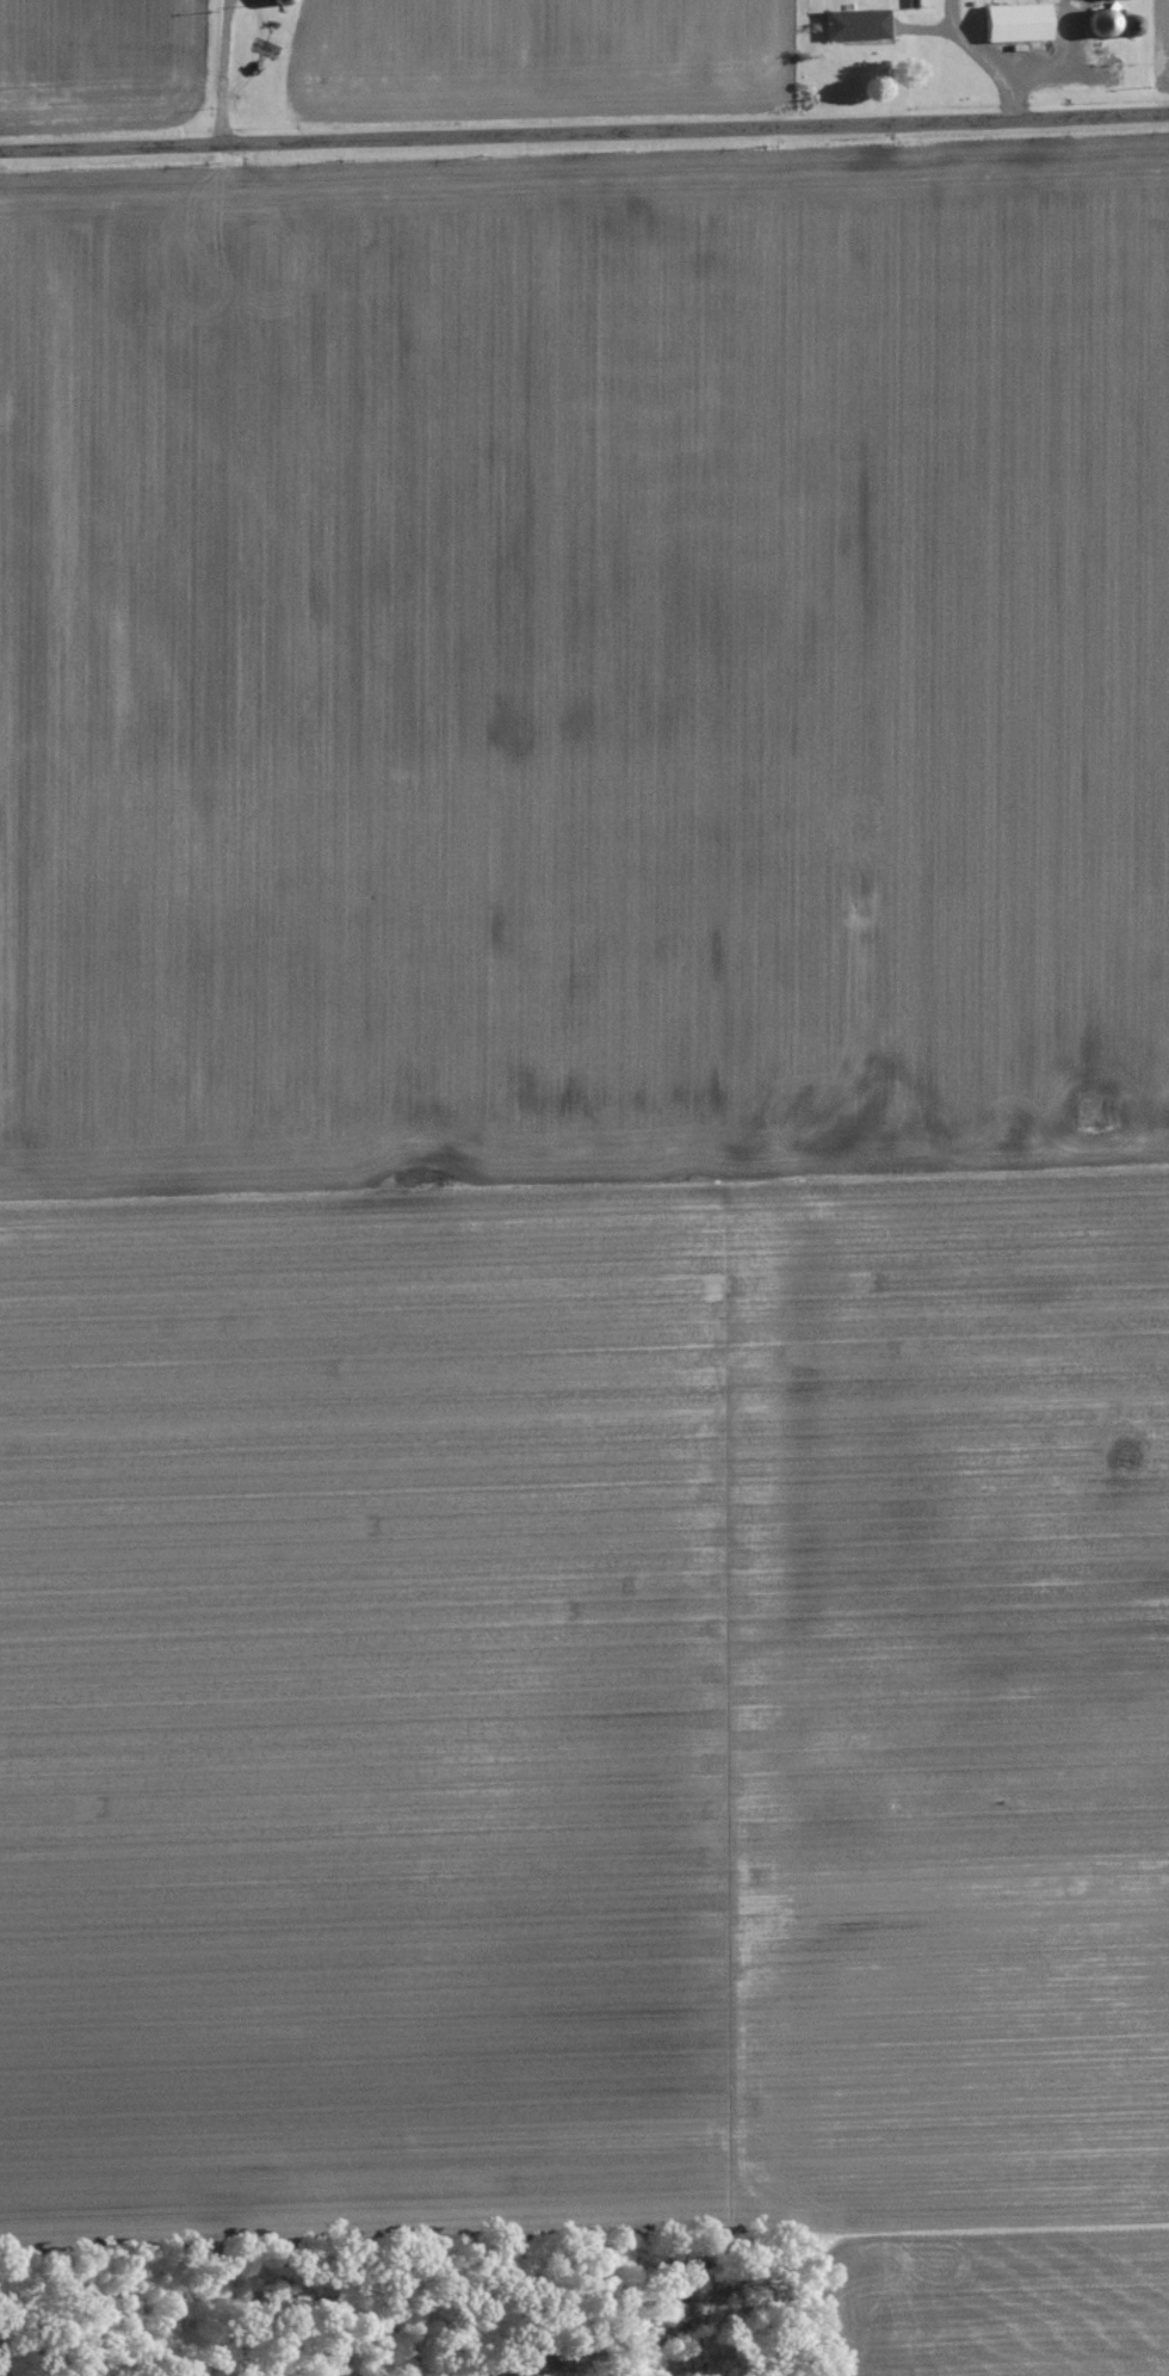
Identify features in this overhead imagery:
building: (1021, 24)
building: (861, 25)
road: (584, 131)

